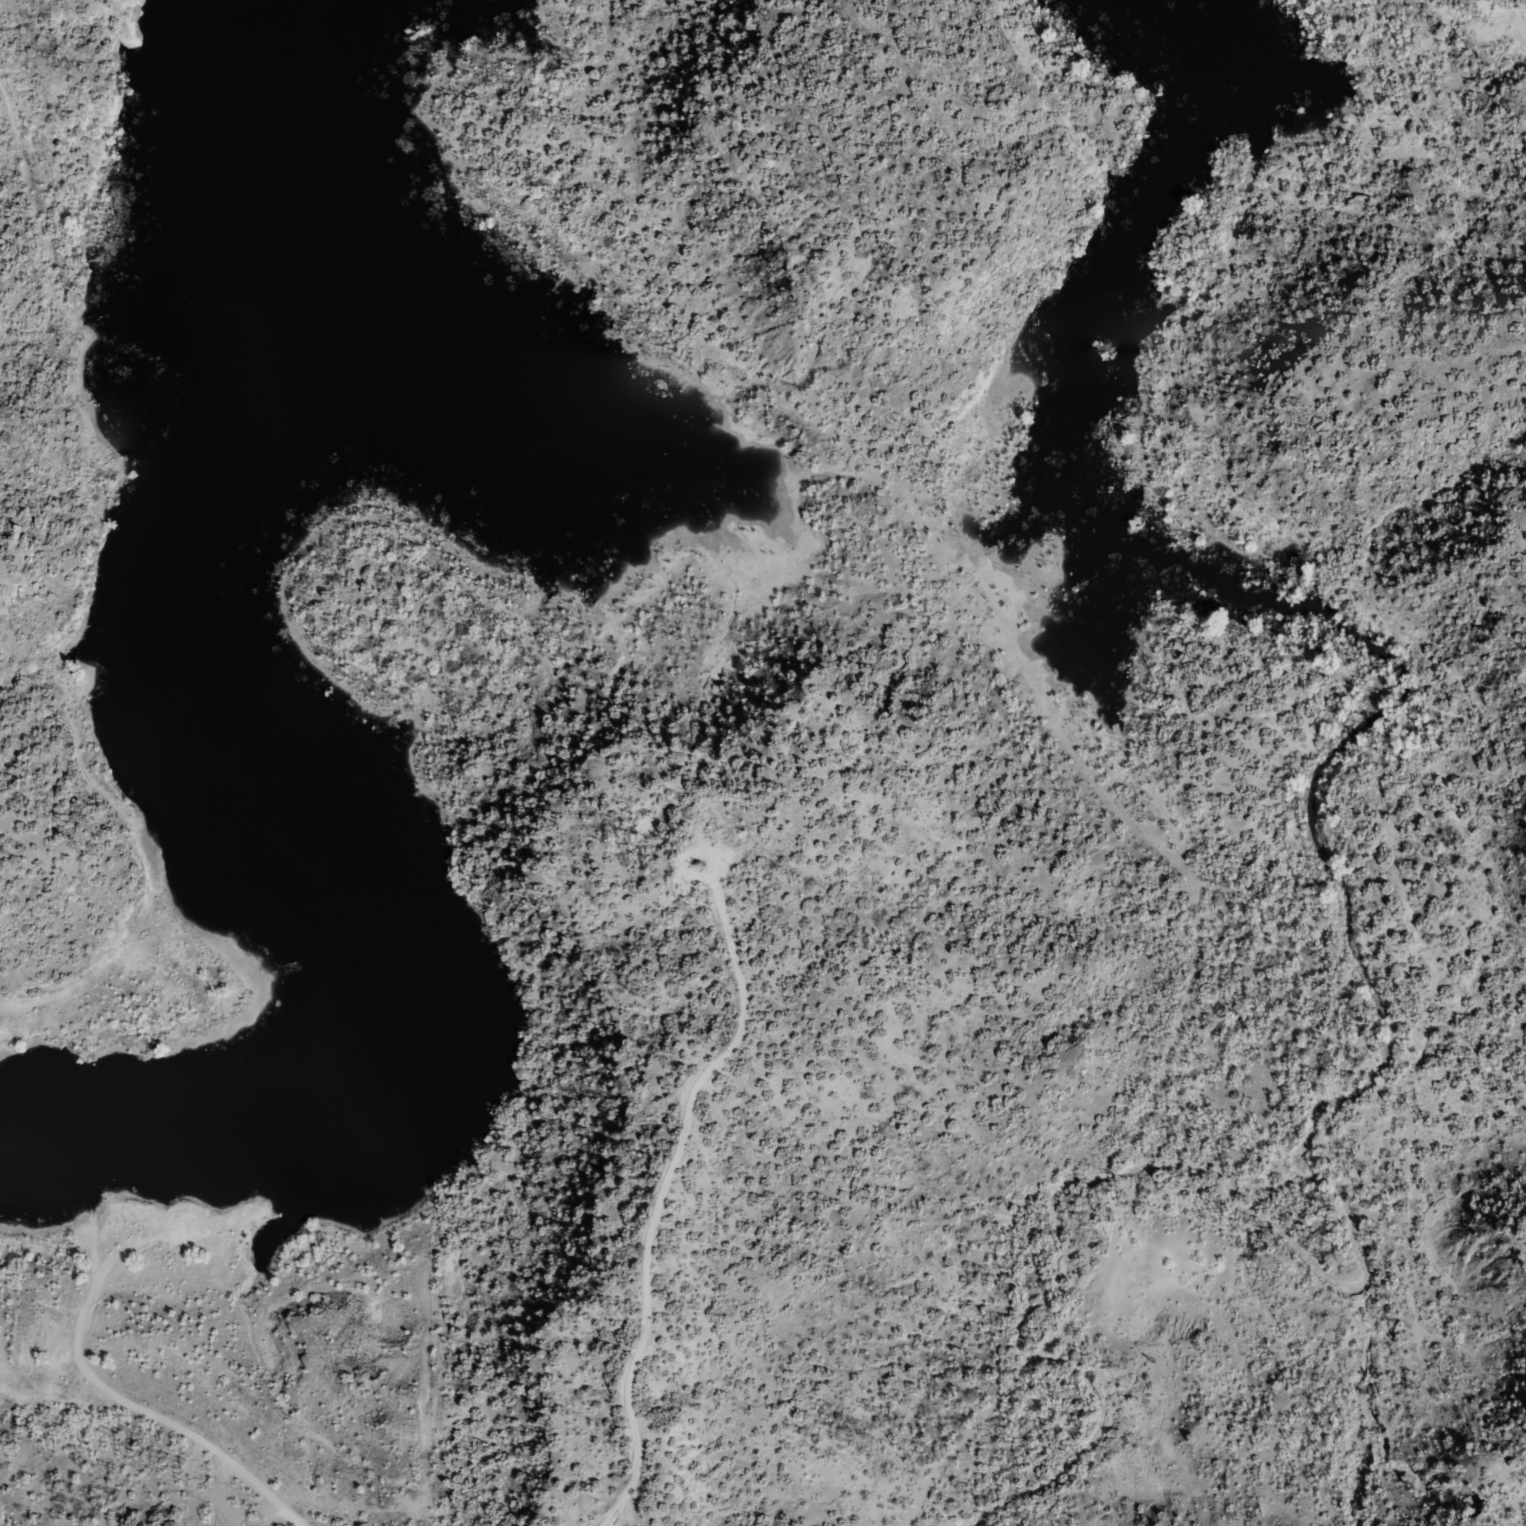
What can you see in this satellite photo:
road: (1136, 1114)
road: (673, 1226)
road: (66, 1444)

